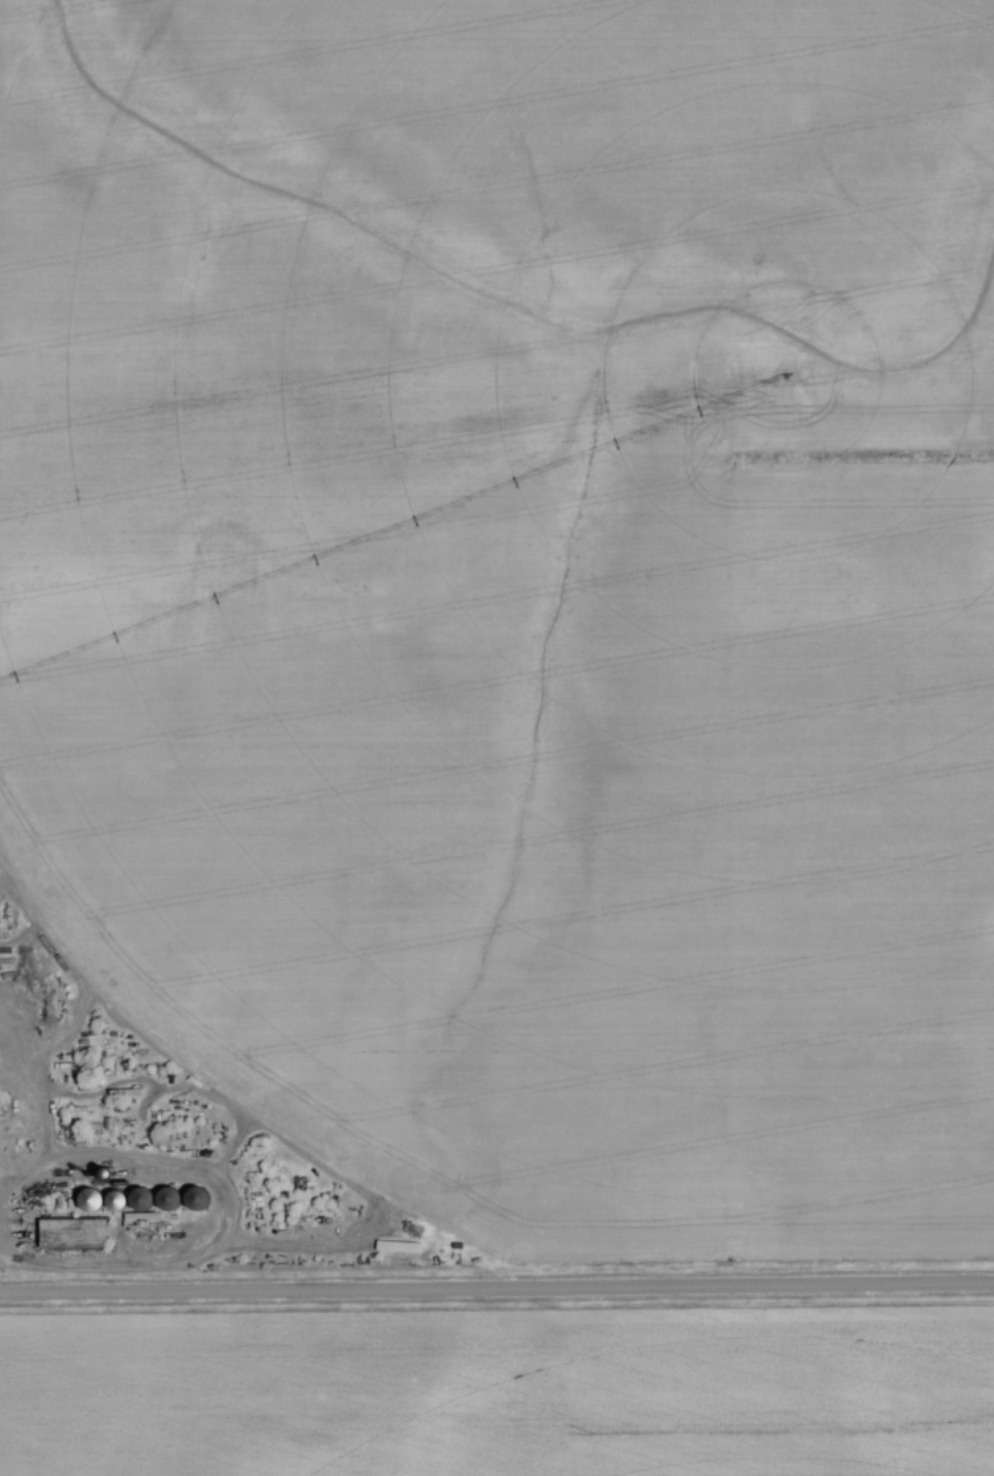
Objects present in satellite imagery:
building: (7, 1147)
road: (24, 1185)
building: (113, 1201)
building: (138, 1201)
building: (166, 1201)
building: (193, 1201)
building: (87, 1202)
building: (66, 1237)
road: (497, 1292)

